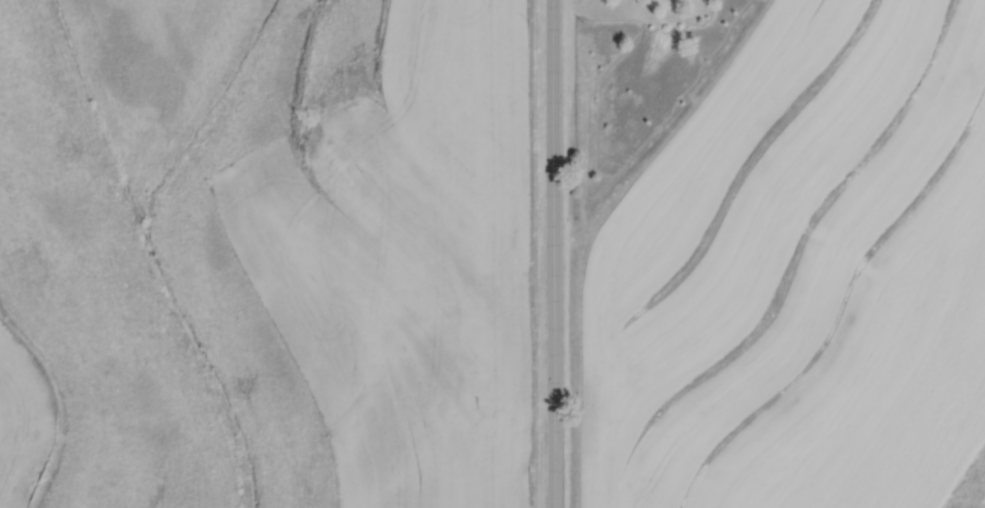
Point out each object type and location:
road: (553, 254)

